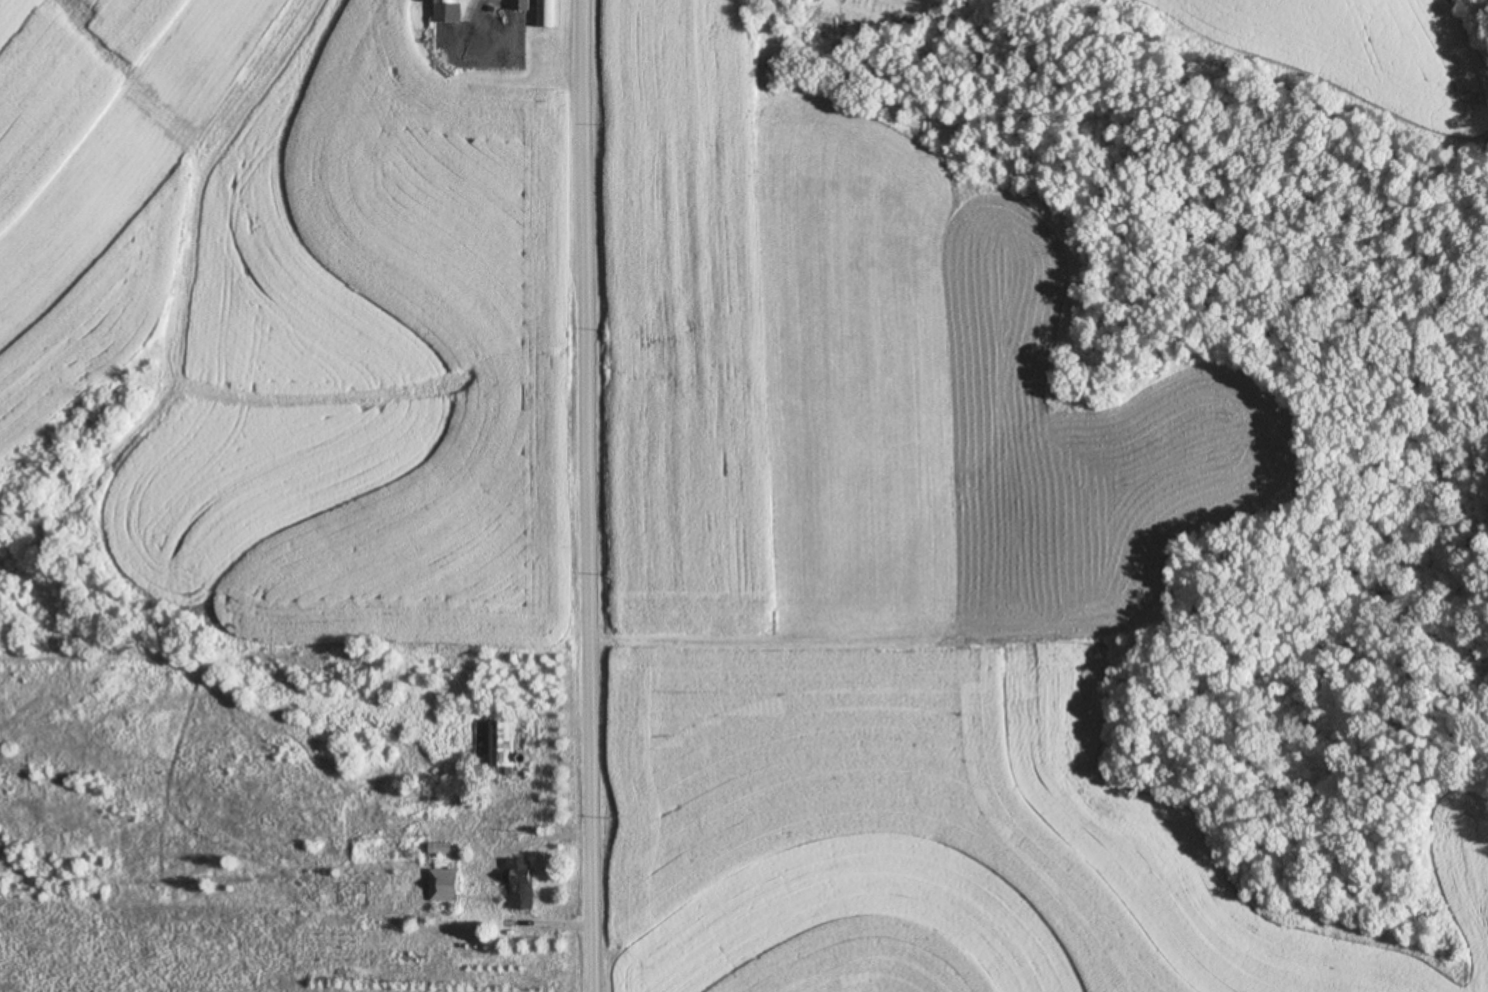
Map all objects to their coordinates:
building: (522, 4)
building: (448, 11)
building: (547, 13)
road: (591, 496)
building: (495, 740)
building: (521, 881)
building: (444, 884)

